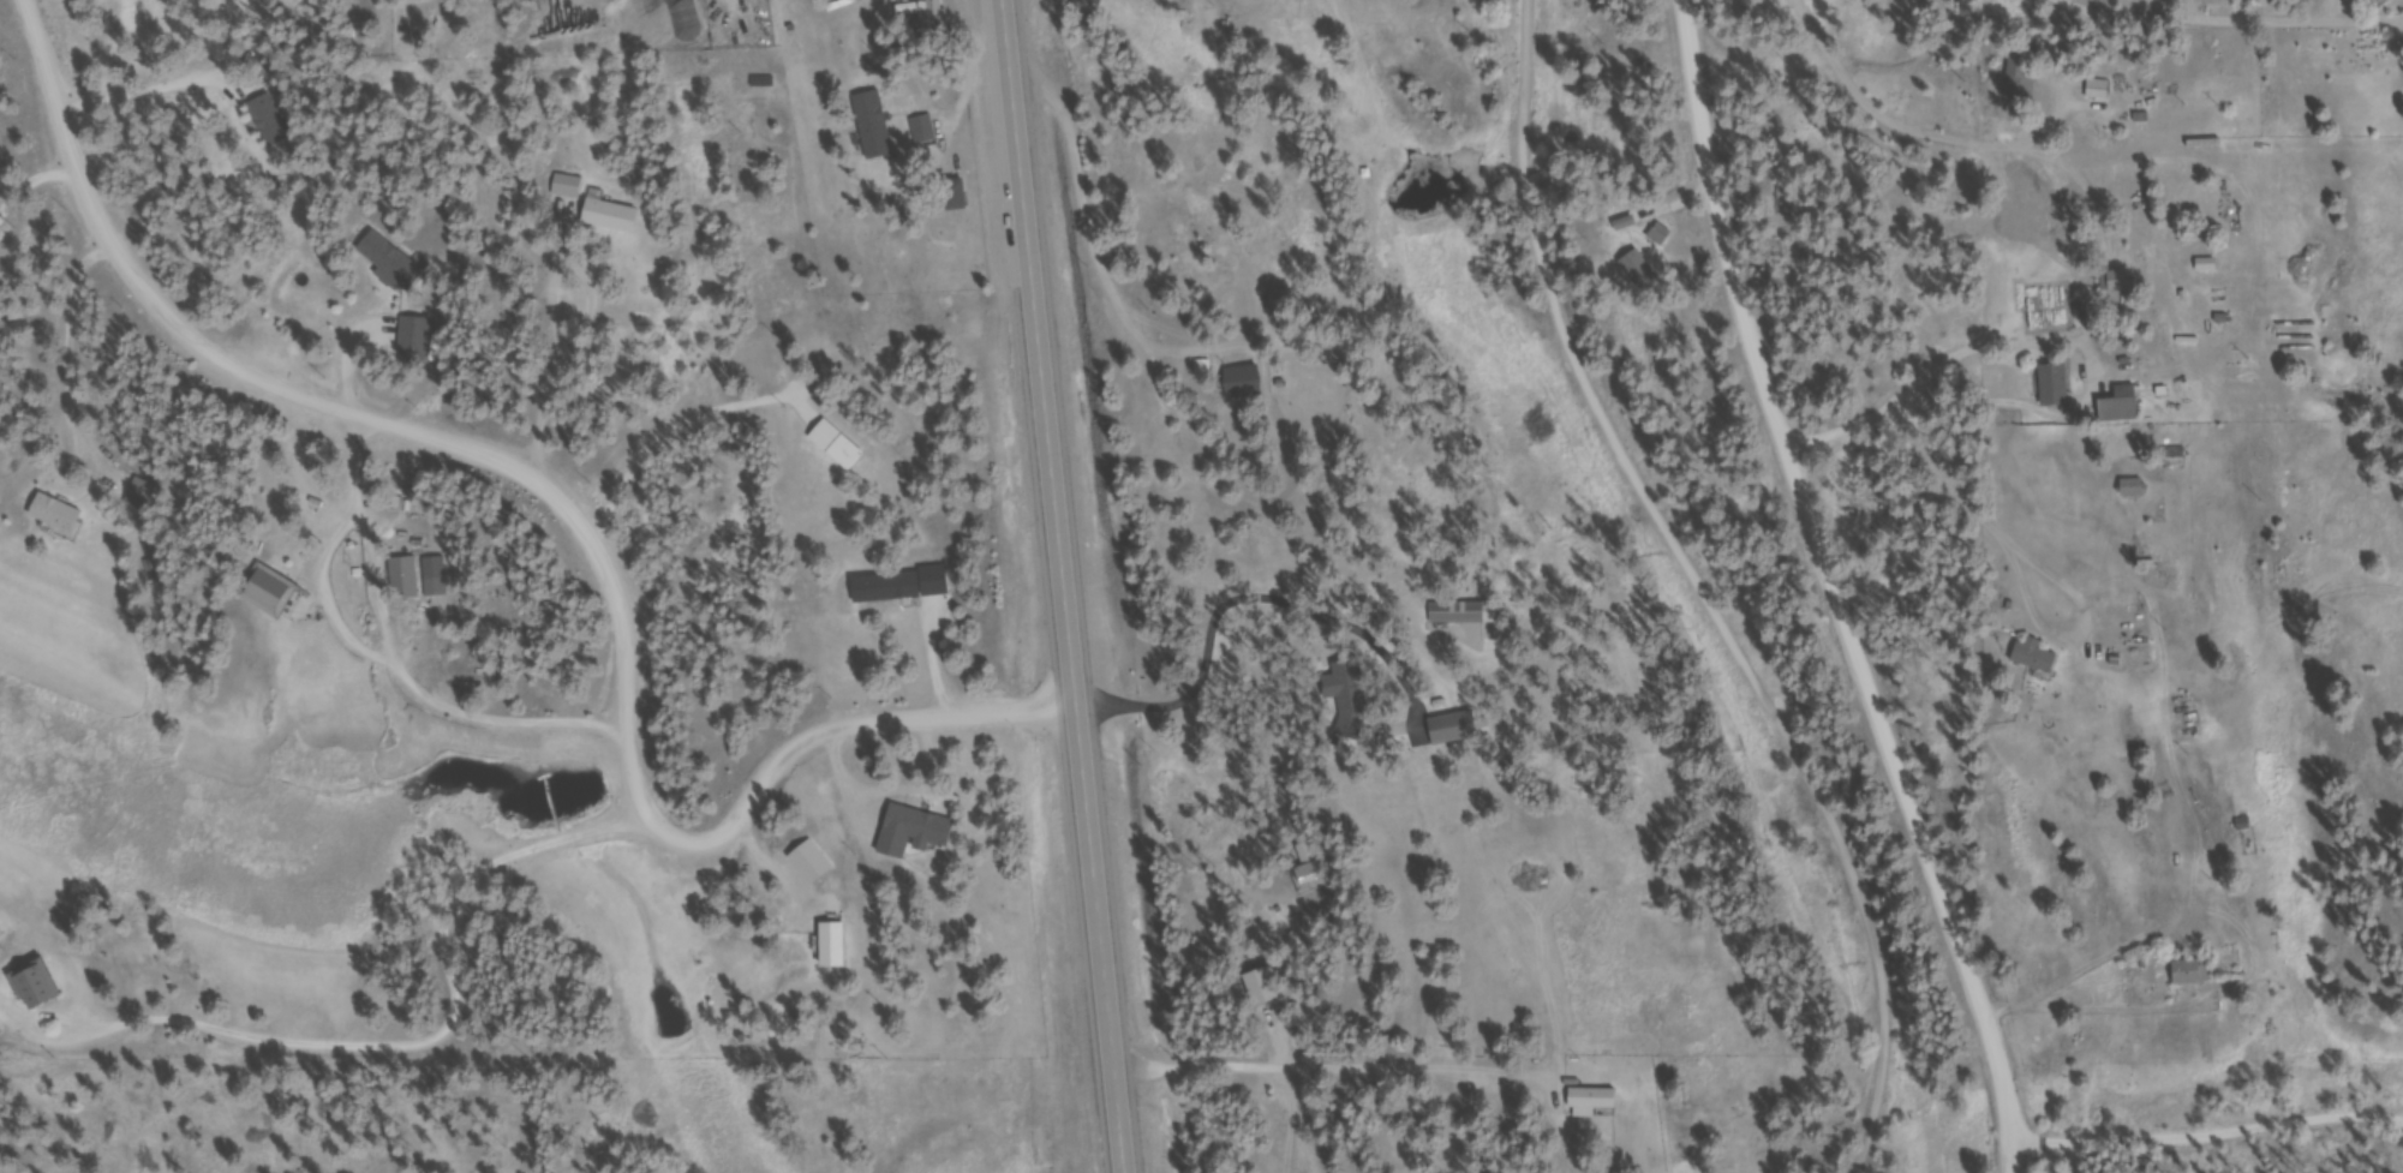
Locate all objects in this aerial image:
road: (26, 1)
building: (934, 14)
road: (2084, 24)
building: (2025, 83)
building: (2102, 92)
building: (271, 122)
building: (877, 127)
building: (958, 197)
building: (2048, 216)
building: (1662, 237)
building: (394, 265)
building: (1640, 271)
road: (639, 306)
building: (417, 342)
road: (442, 383)
building: (1247, 384)
building: (2057, 387)
building: (2123, 407)
road: (1875, 408)
building: (839, 447)
building: (2175, 456)
building: (2138, 490)
road: (578, 509)
building: (59, 516)
road: (1828, 569)
building: (407, 581)
road: (1065, 586)
building: (904, 588)
road: (1702, 590)
building: (273, 594)
building: (2038, 658)
building: (1350, 694)
building: (1455, 731)
building: (2248, 827)
building: (917, 834)
building: (1313, 869)
building: (836, 948)
building: (2195, 975)
building: (37, 988)
building: (1267, 991)
road: (1309, 1070)
building: (1595, 1105)
road: (2207, 1118)
road: (1296, 1120)
road: (2013, 1153)

